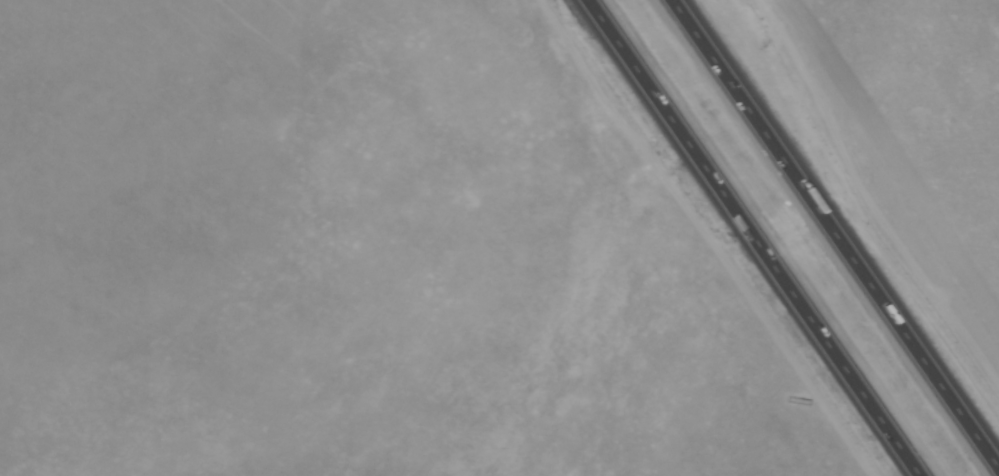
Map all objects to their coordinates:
crop: (922, 110)
road: (870, 195)
road: (840, 233)
road: (711, 236)
road: (757, 238)

